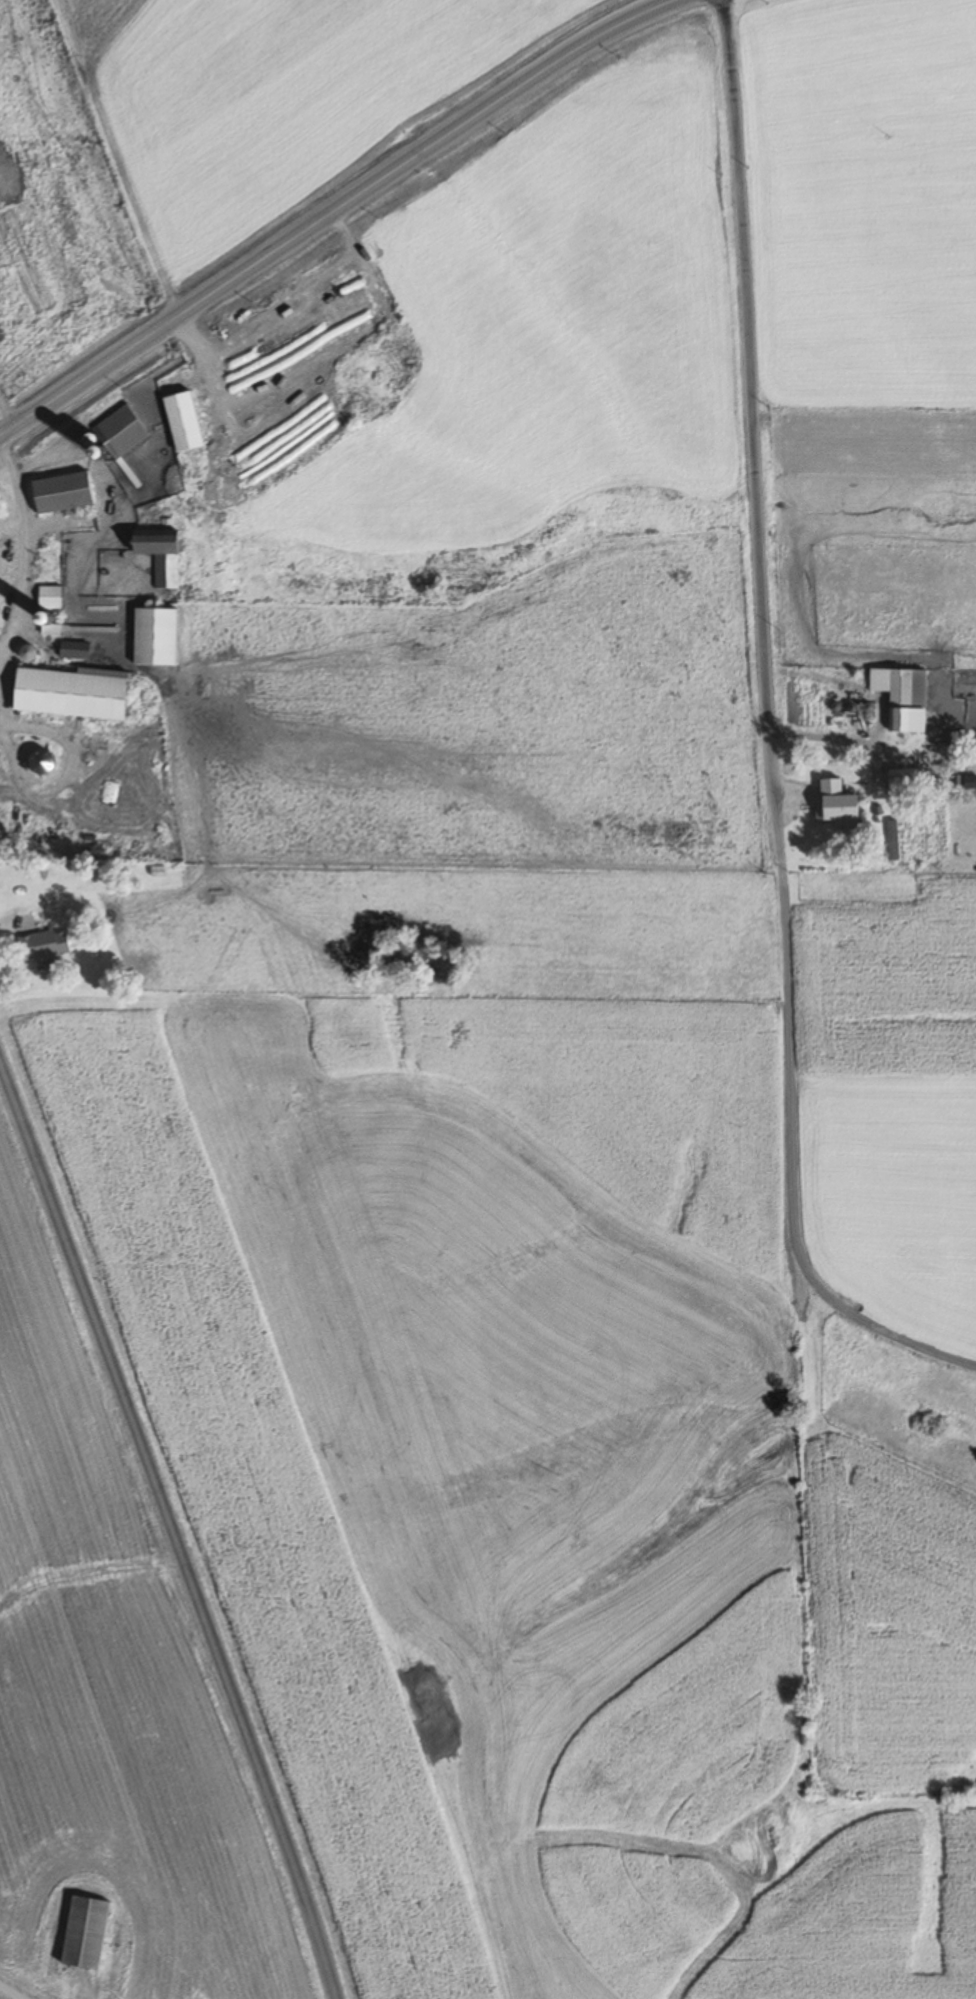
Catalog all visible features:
road: (334, 207)
building: (178, 420)
building: (117, 430)
building: (58, 491)
building: (156, 553)
building: (0, 568)
building: (47, 596)
road: (760, 615)
building: (151, 636)
building: (72, 649)
building: (67, 694)
building: (905, 700)
building: (903, 779)
building: (829, 798)
building: (40, 944)
road: (864, 1320)
road: (171, 1533)
building: (83, 1932)
road: (13, 1991)

